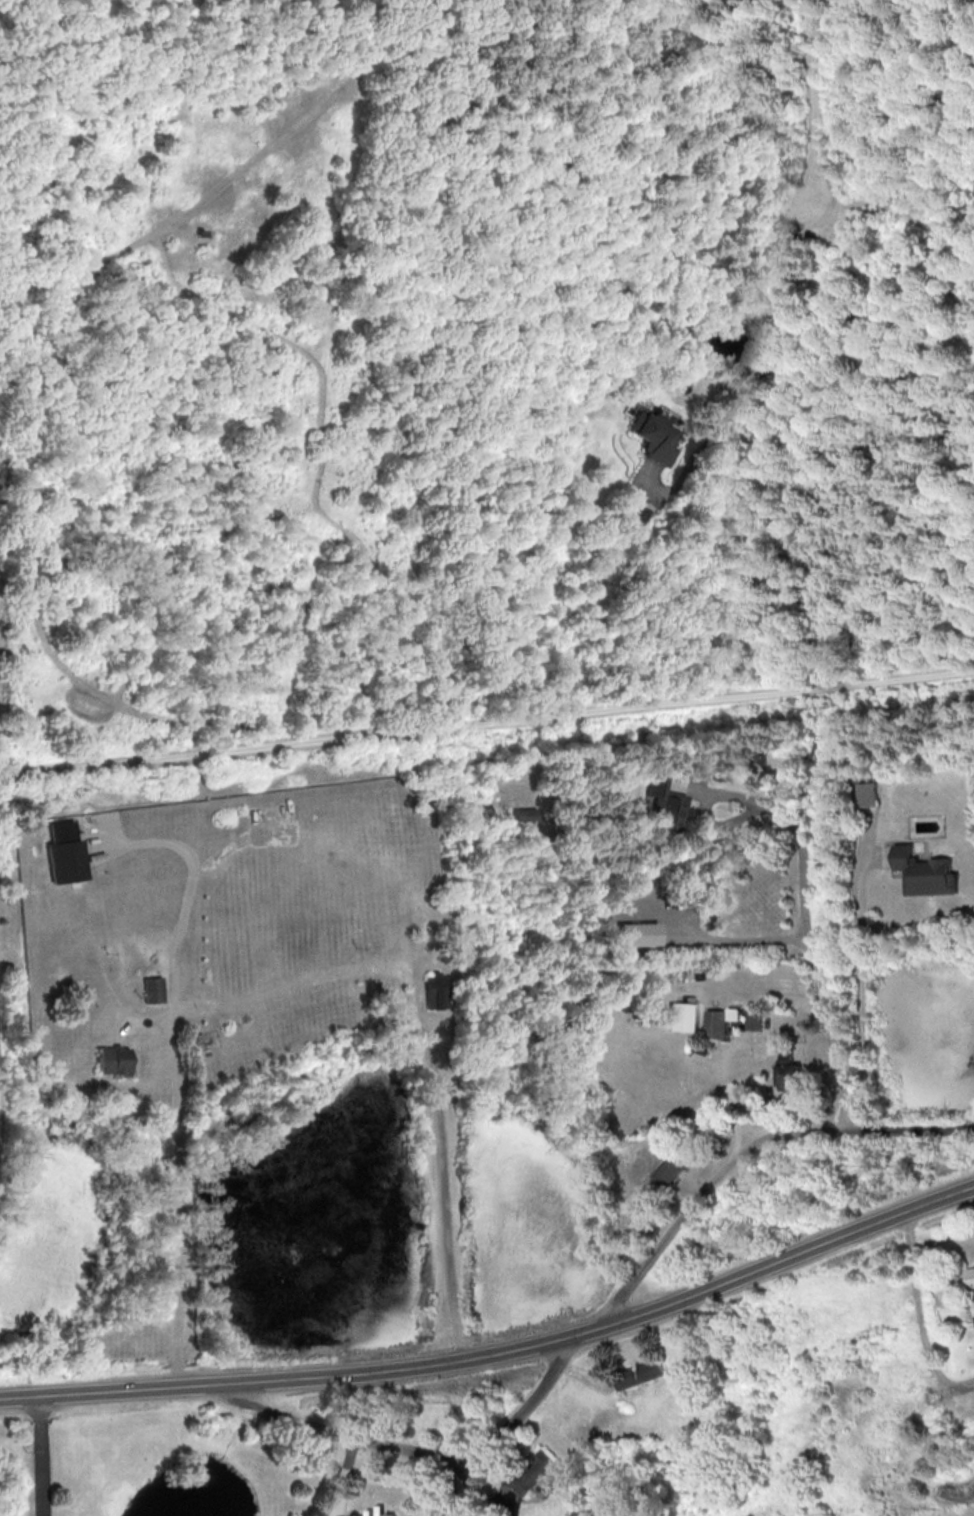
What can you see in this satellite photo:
road: (808, 117)
road: (772, 365)
building: (651, 435)
building: (638, 518)
park: (470, 719)
road: (486, 723)
building: (866, 794)
building: (664, 805)
building: (524, 814)
building: (63, 853)
building: (925, 872)
building: (637, 934)
road: (809, 949)
building: (152, 989)
building: (433, 991)
road: (859, 998)
building: (683, 1016)
building: (753, 1021)
building: (716, 1023)
road: (733, 1043)
building: (112, 1060)
building: (788, 1072)
road: (444, 1165)
building: (670, 1168)
road: (180, 1209)
road: (659, 1233)
building: (970, 1276)
road: (677, 1302)
building: (972, 1305)
road: (922, 1315)
building: (639, 1373)
road: (184, 1385)
road: (343, 1434)
road: (38, 1456)
building: (536, 1473)

